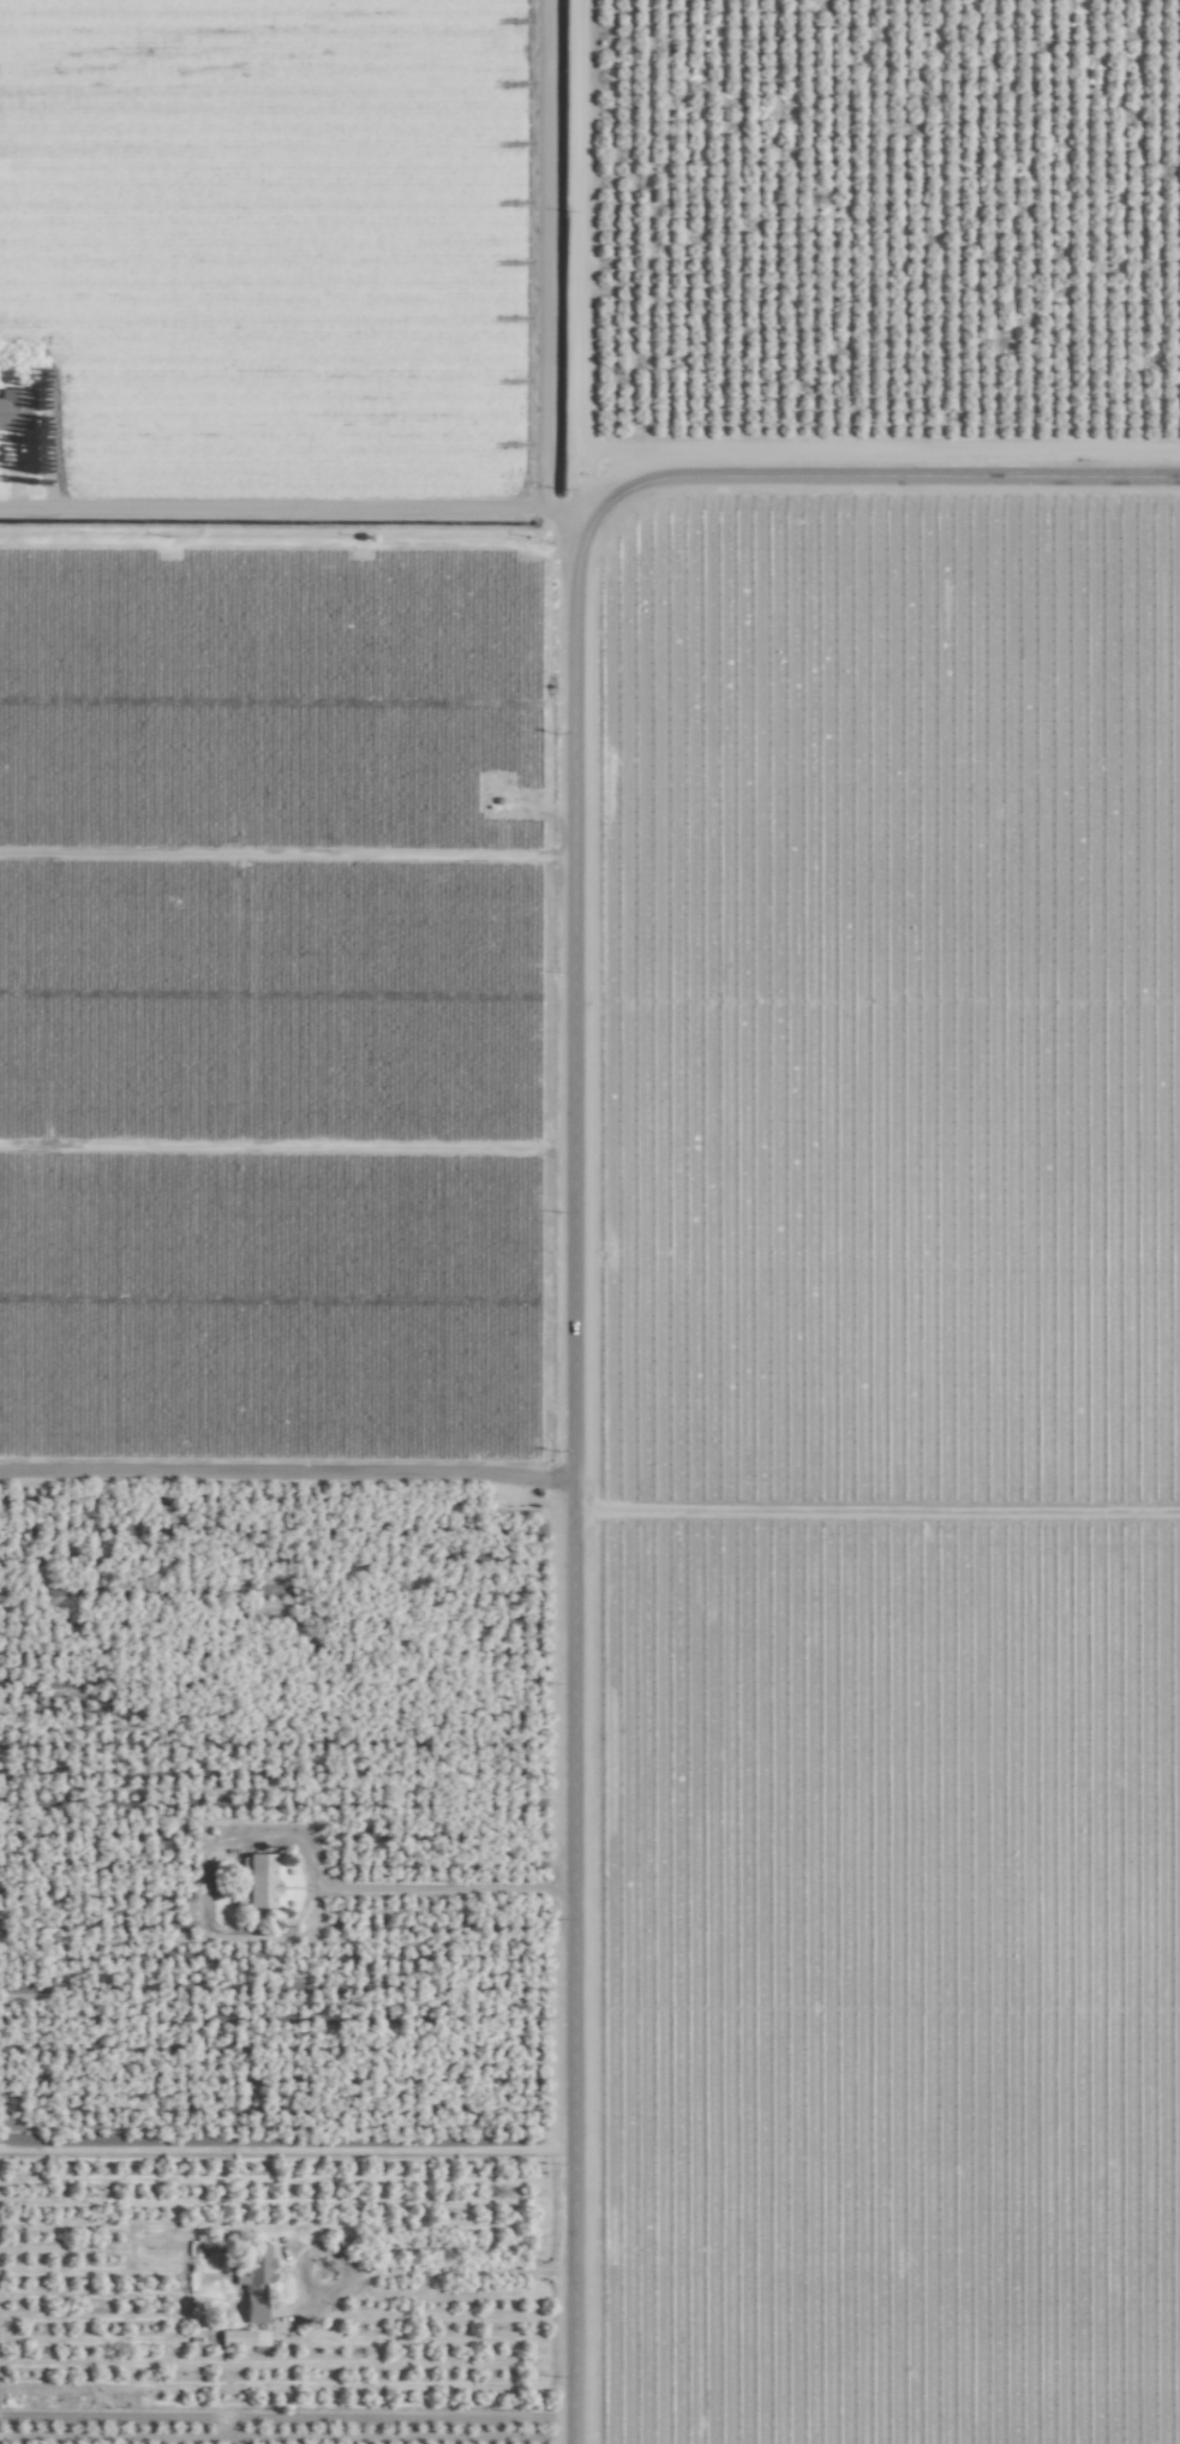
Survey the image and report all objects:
building: (12, 407)
road: (885, 488)
road: (299, 514)
road: (577, 1481)
building: (252, 1882)
road: (449, 1893)
road: (463, 2273)
building: (251, 2279)
building: (240, 2337)

